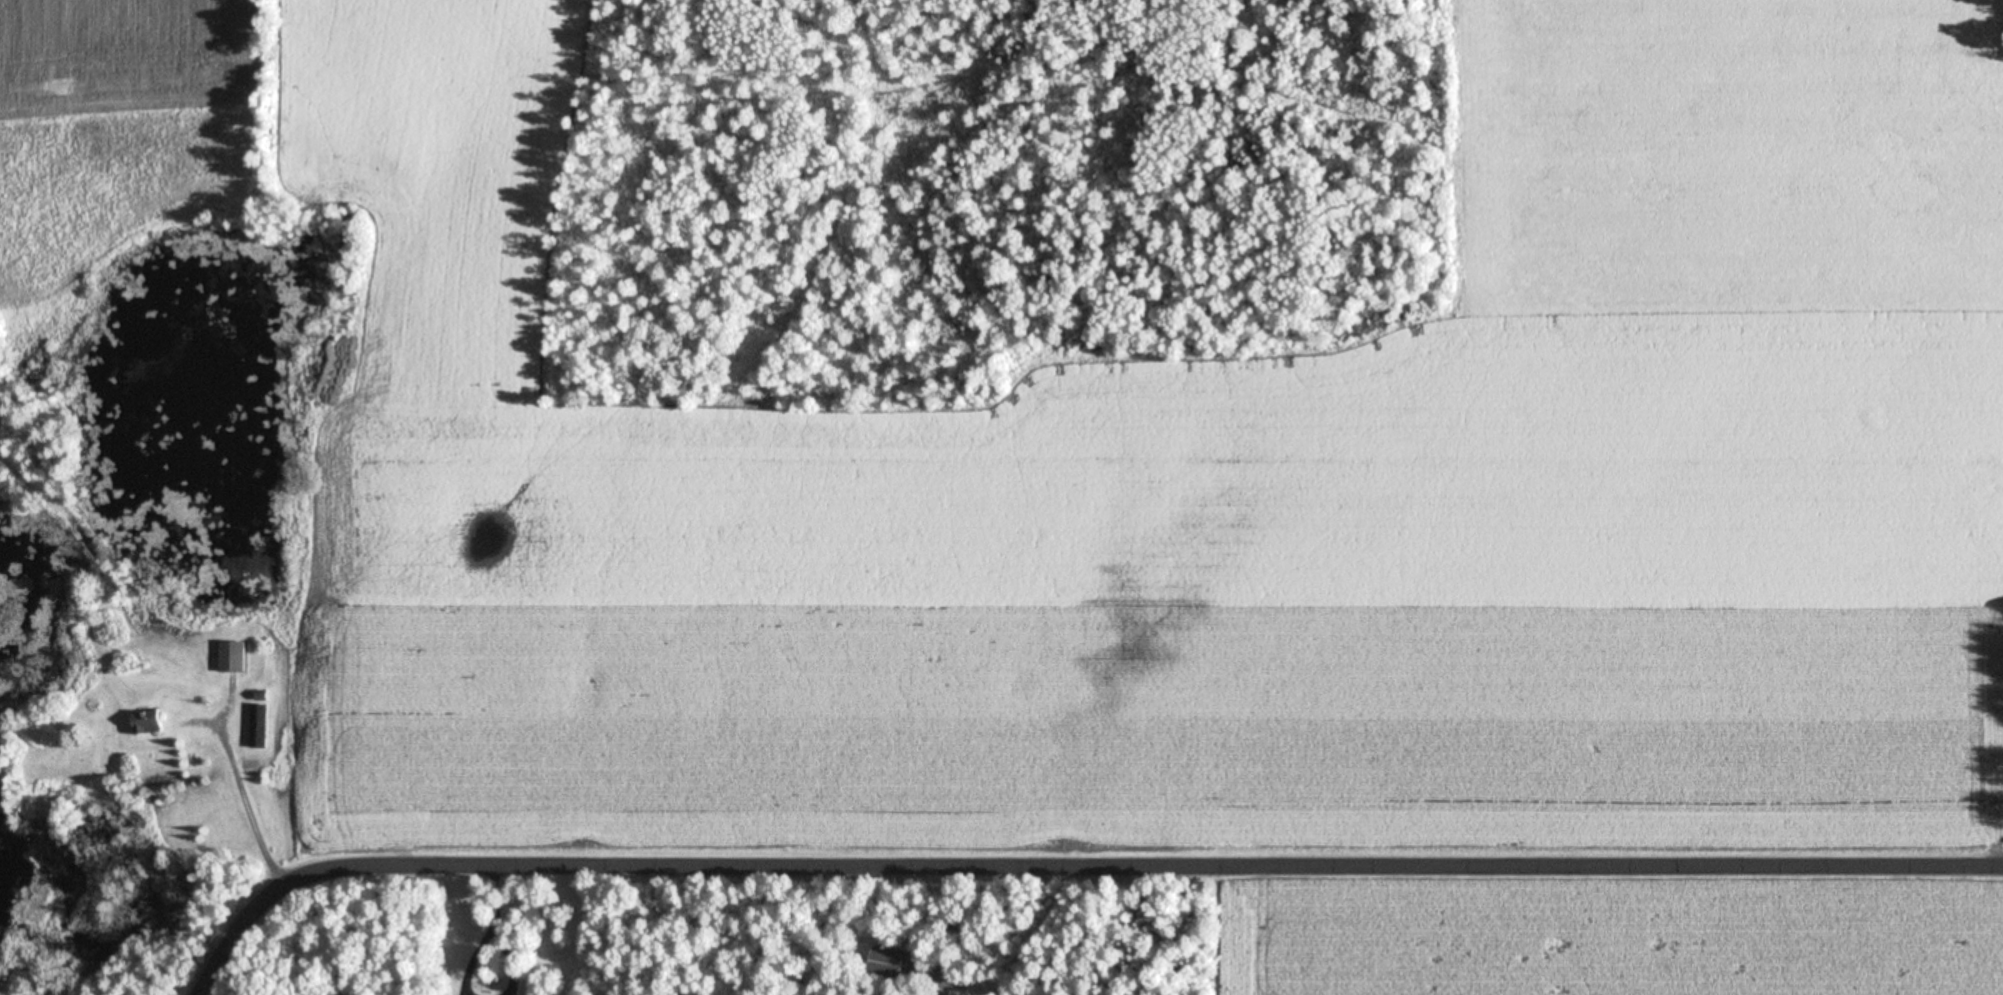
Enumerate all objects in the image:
building: (234, 657)
building: (150, 722)
building: (261, 727)
road: (1069, 859)
building: (886, 962)

